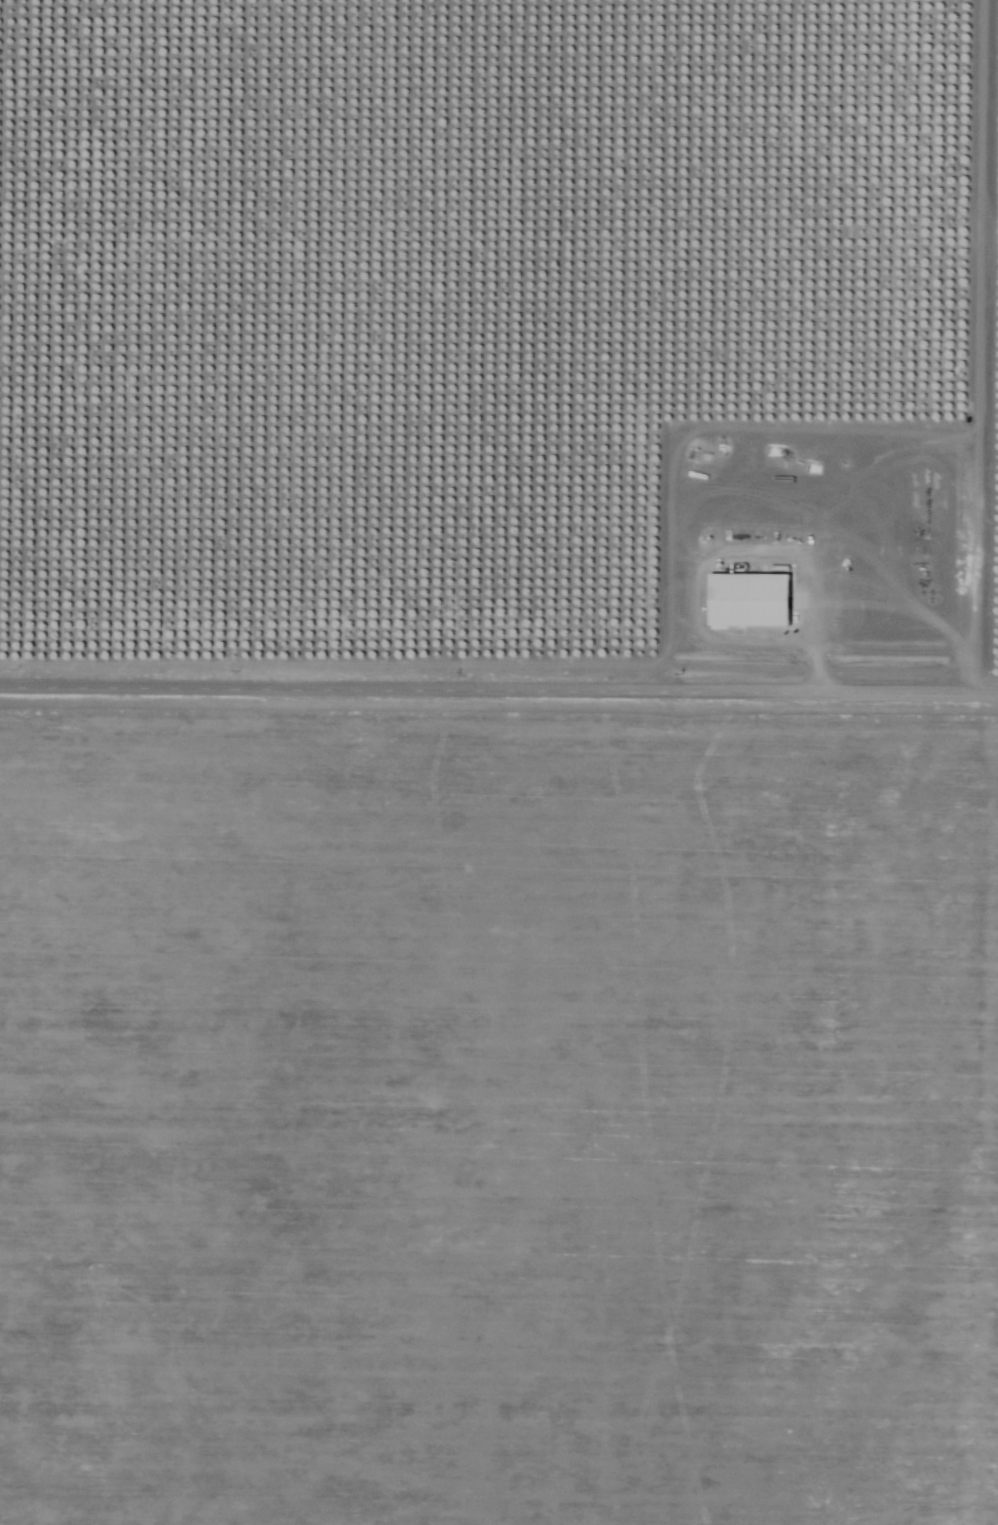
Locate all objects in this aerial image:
road: (958, 340)
crop: (499, 350)
road: (691, 430)
building: (748, 598)
road: (499, 677)

